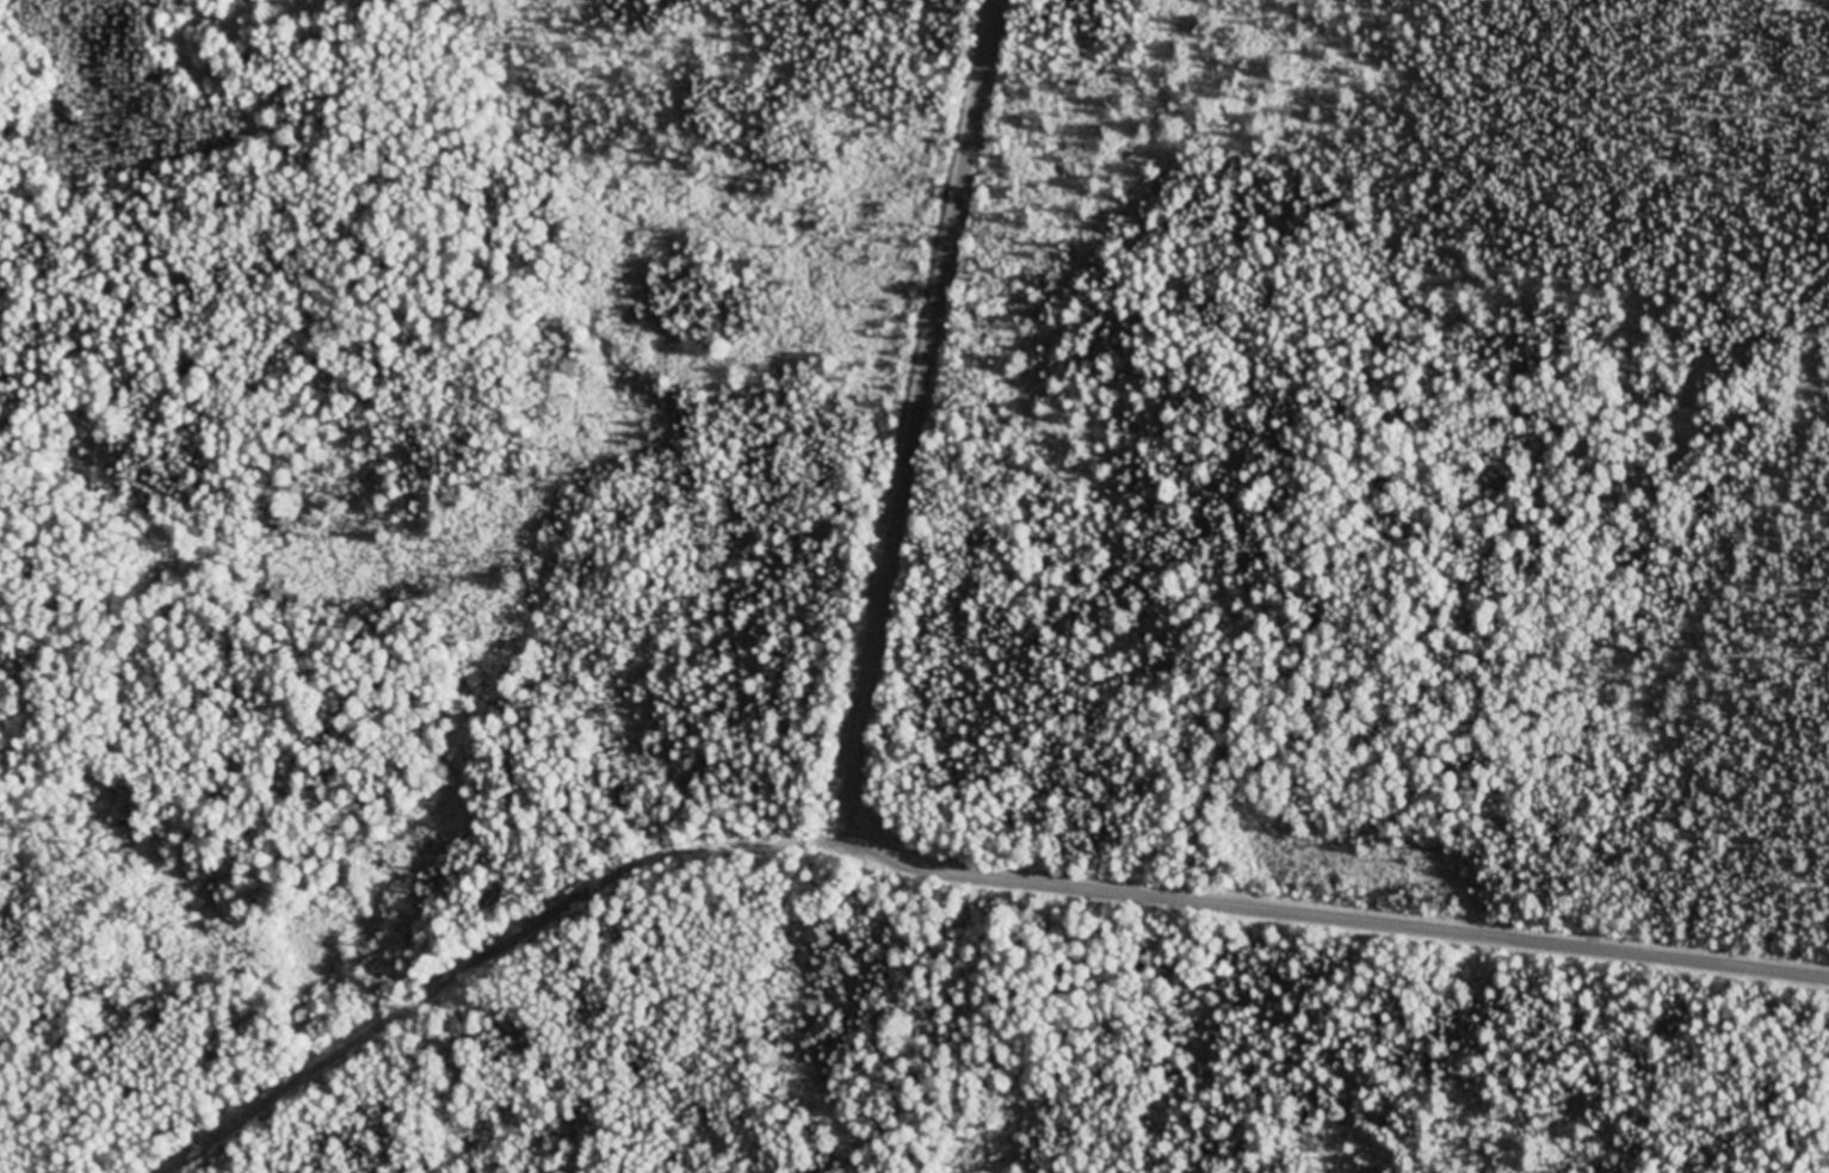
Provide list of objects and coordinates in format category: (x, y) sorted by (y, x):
road: (920, 869)
road: (521, 952)

